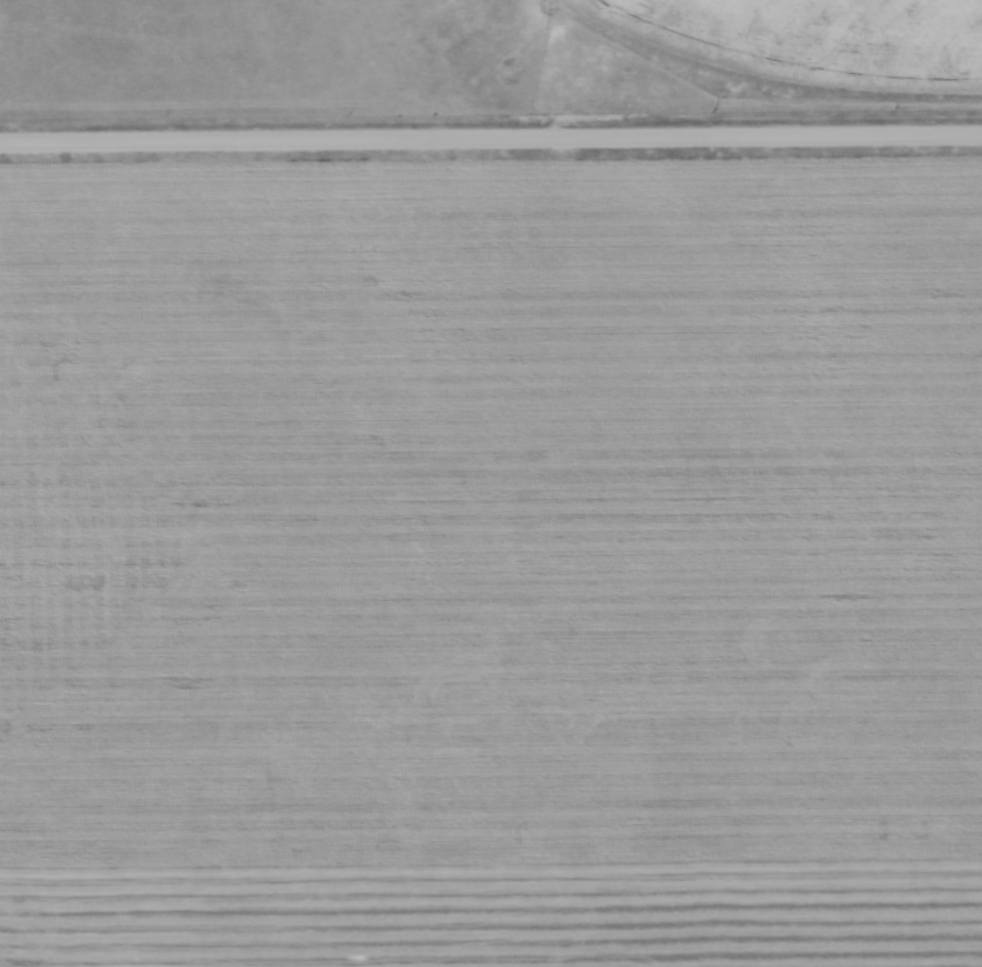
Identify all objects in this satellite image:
crop: (817, 32)
road: (490, 136)

